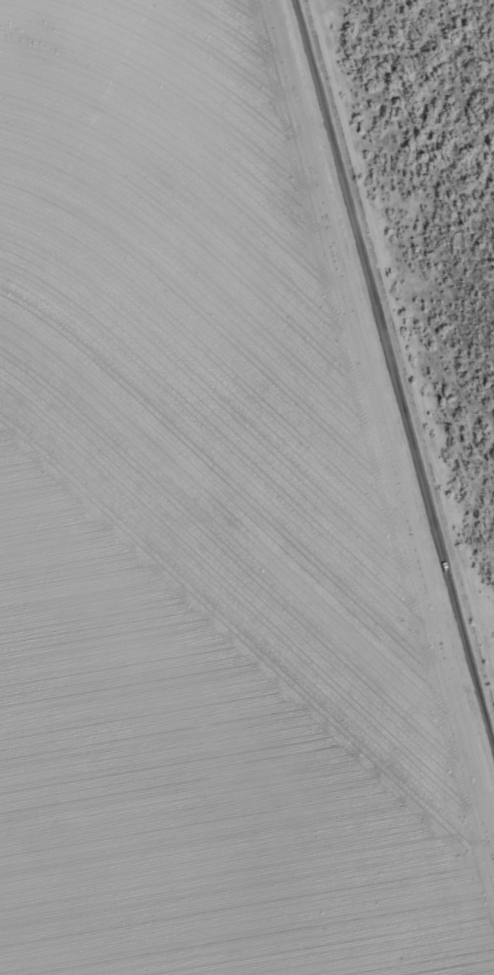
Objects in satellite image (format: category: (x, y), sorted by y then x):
road: (382, 422)

